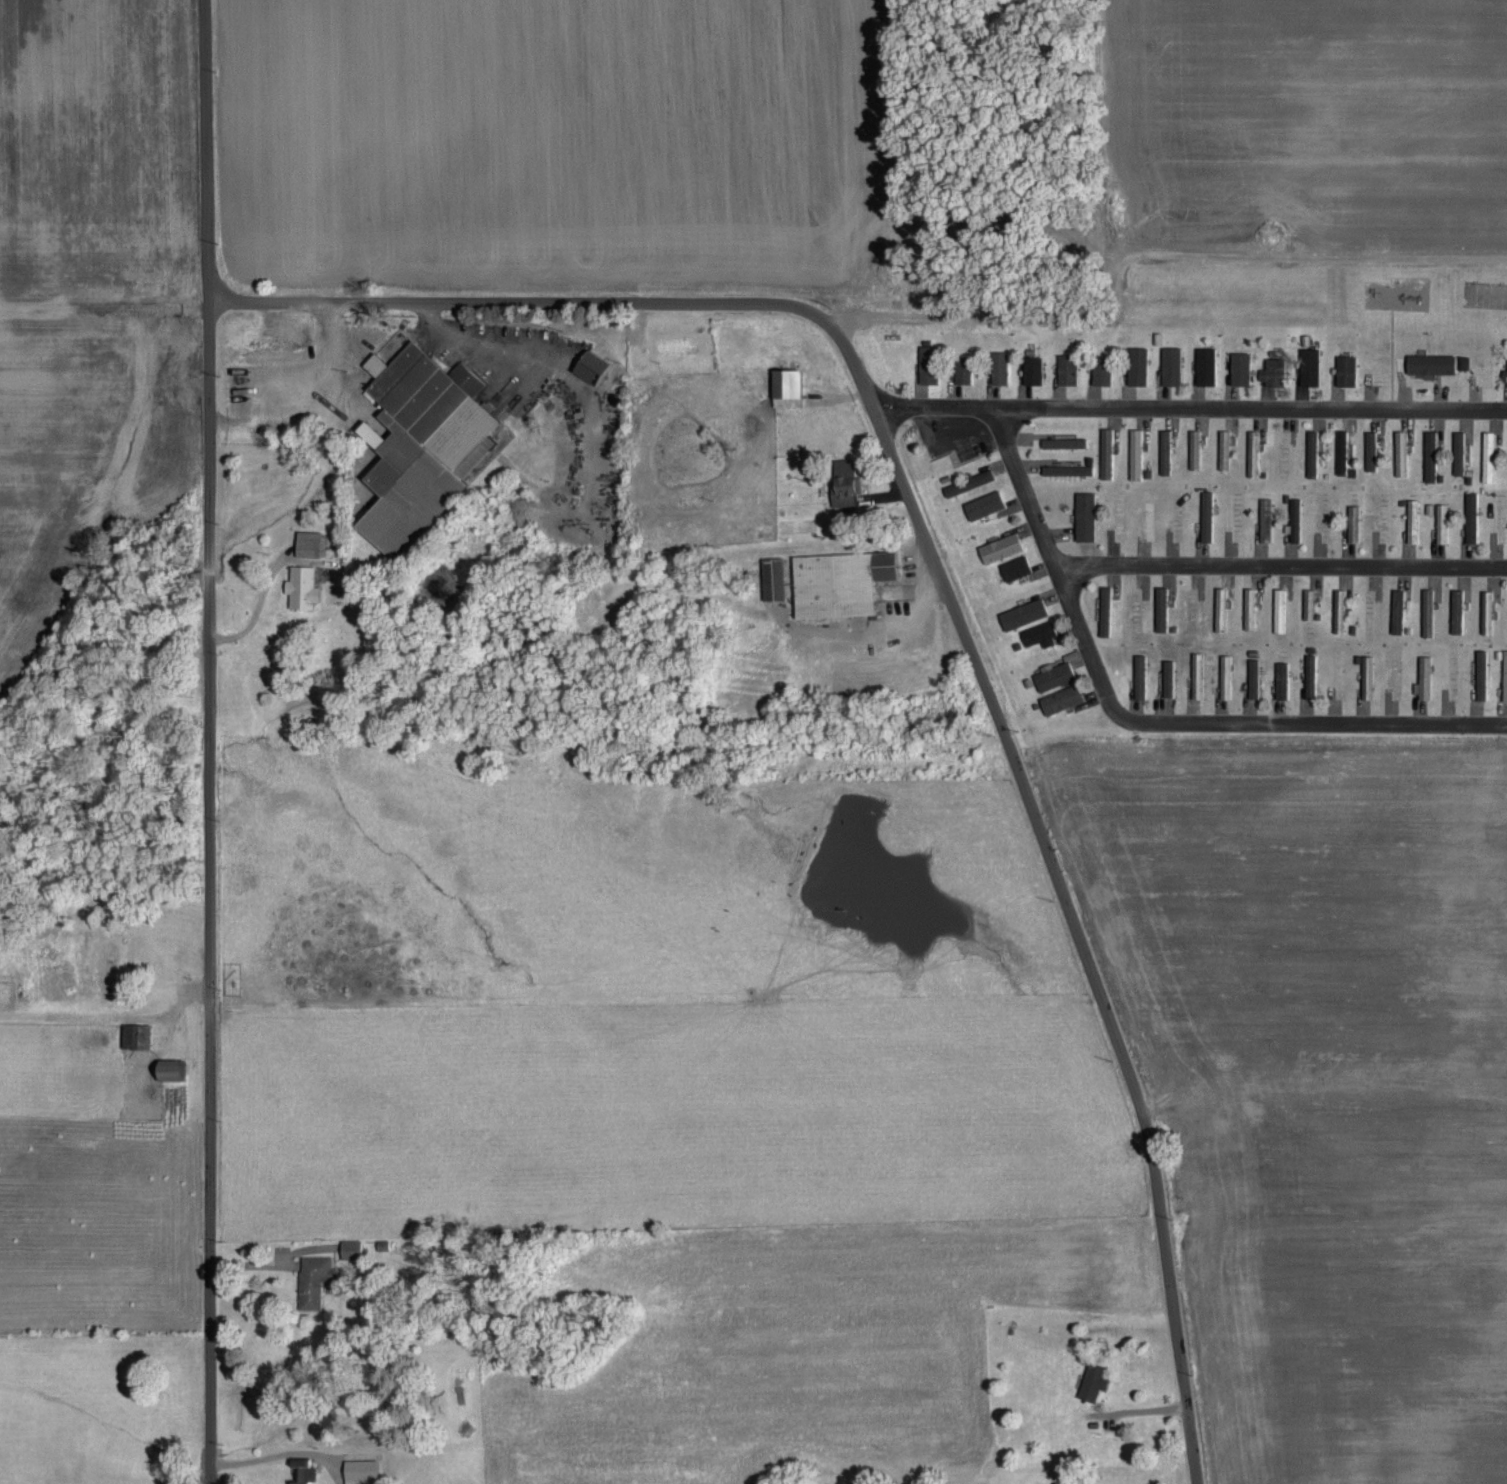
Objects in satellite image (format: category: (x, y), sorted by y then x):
building: (287, 322)
building: (1430, 362)
building: (926, 363)
building: (1136, 364)
building: (1170, 364)
building: (589, 365)
building: (1309, 365)
building: (998, 366)
building: (1239, 366)
building: (961, 368)
building: (1066, 368)
building: (1101, 368)
building: (1031, 369)
building: (1345, 369)
building: (1271, 370)
building: (1505, 376)
building: (785, 386)
road: (1190, 405)
building: (1063, 441)
building: (418, 442)
building: (1193, 447)
building: (1164, 449)
building: (1370, 449)
building: (1340, 450)
building: (1106, 451)
building: (1400, 451)
building: (1458, 451)
building: (1252, 452)
building: (1310, 453)
building: (1429, 454)
building: (1487, 455)
building: (1066, 468)
building: (843, 481)
building: (967, 481)
building: (983, 504)
building: (1084, 514)
building: (1205, 514)
building: (1264, 518)
building: (1411, 519)
building: (1146, 523)
building: (1352, 524)
building: (1441, 524)
building: (1470, 524)
building: (307, 542)
building: (999, 546)
road: (1281, 565)
building: (1014, 566)
building: (772, 577)
building: (838, 581)
building: (300, 586)
road: (948, 596)
building: (1427, 597)
building: (1308, 602)
building: (1248, 607)
building: (1159, 608)
building: (1219, 608)
building: (1456, 608)
building: (1104, 609)
building: (1278, 609)
building: (1338, 609)
building: (1396, 609)
building: (1486, 610)
building: (1022, 612)
building: (1038, 633)
building: (1480, 673)
building: (1052, 674)
building: (1196, 674)
building: (1309, 674)
building: (1139, 675)
building: (1224, 675)
building: (1366, 675)
building: (1504, 675)
building: (1167, 676)
building: (1422, 676)
building: (1252, 677)
building: (1281, 679)
building: (1060, 697)
road: (1147, 720)
road: (207, 741)
building: (128, 1033)
building: (168, 1067)
building: (349, 1247)
building: (312, 1277)
building: (1093, 1378)
building: (300, 1470)
building: (359, 1470)

